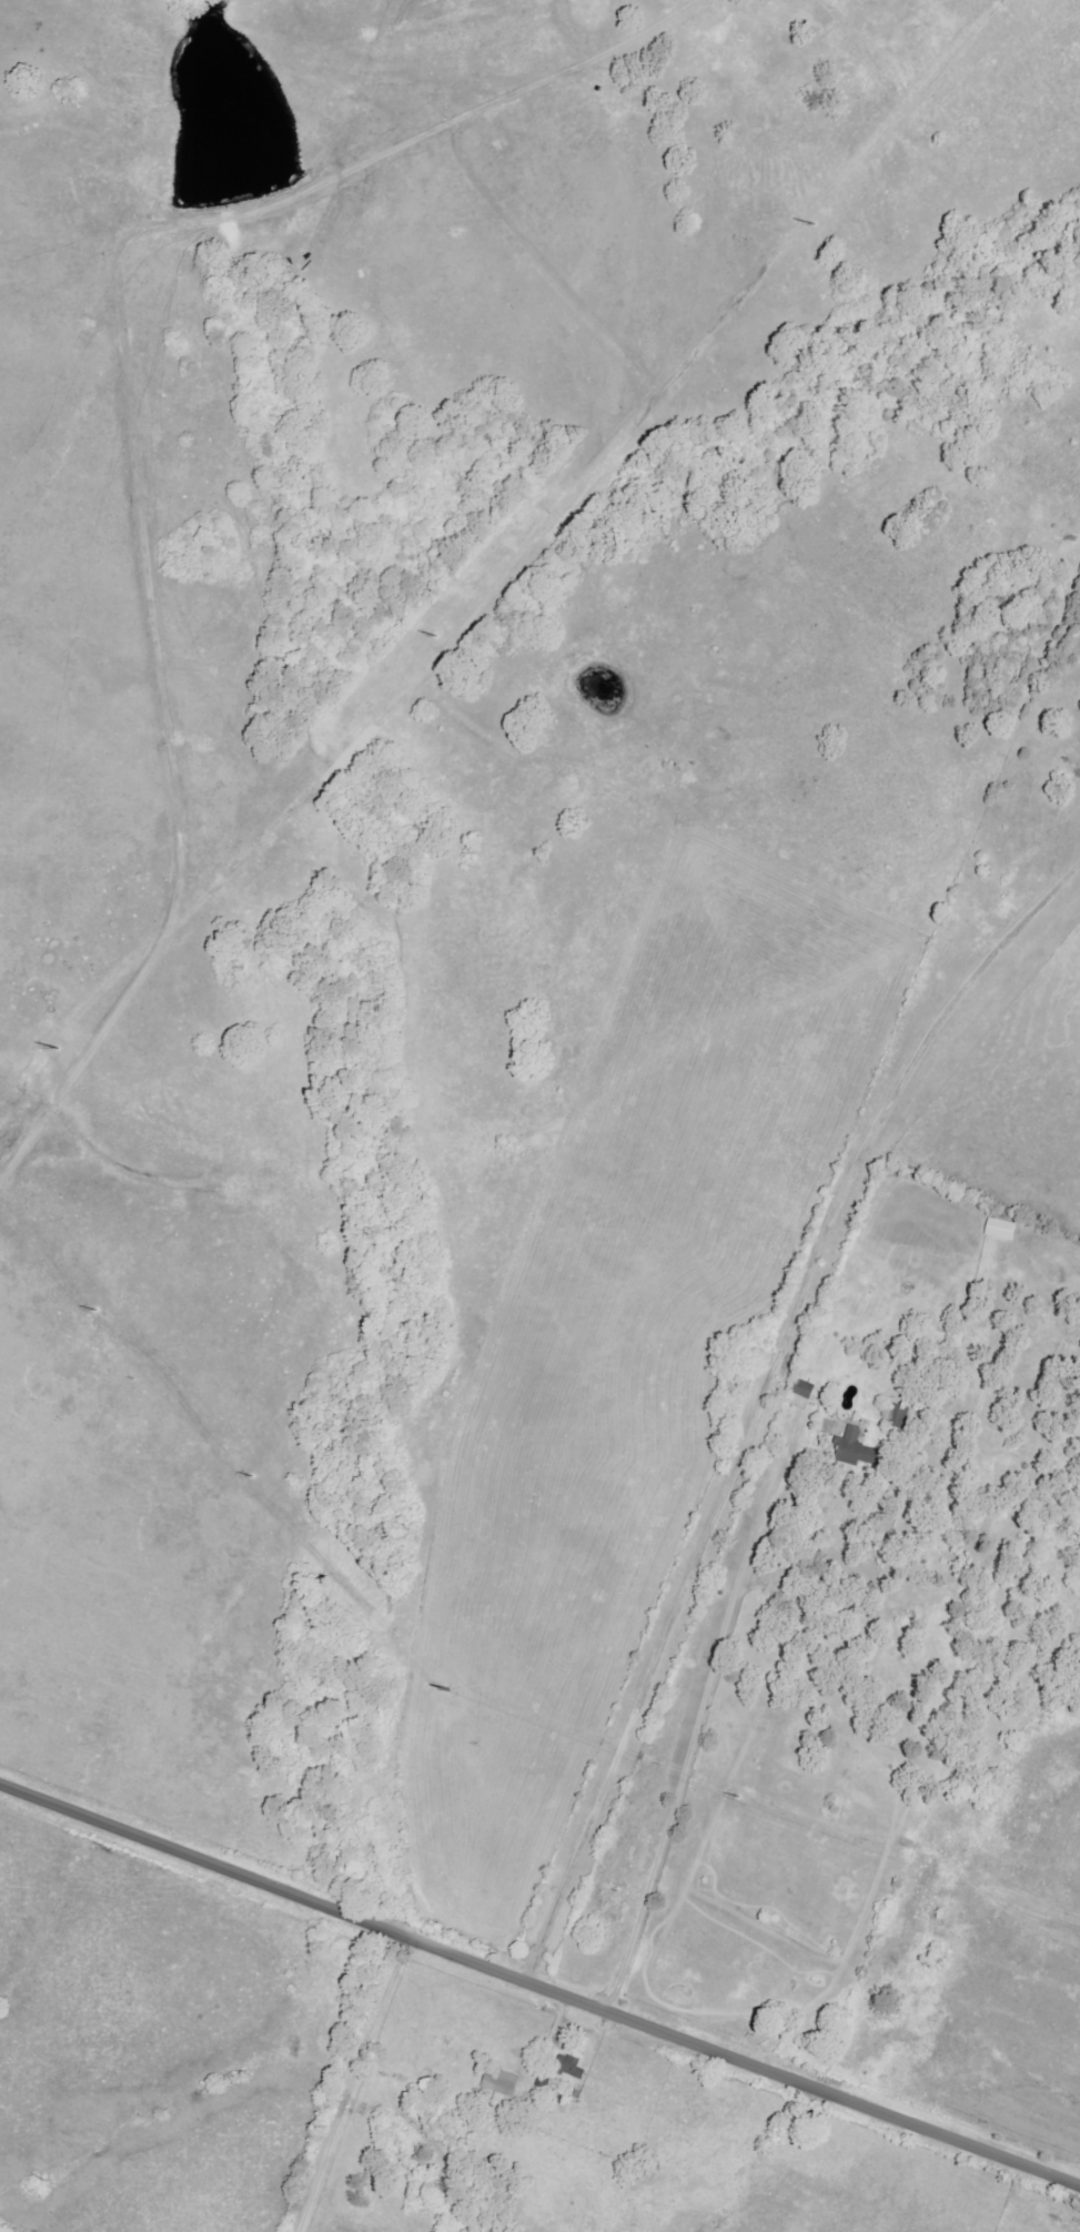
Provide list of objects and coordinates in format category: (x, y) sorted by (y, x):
power tower: (1009, 12)
road: (455, 85)
road: (352, 788)
building: (1001, 1230)
building: (805, 1390)
road: (761, 1400)
building: (899, 1417)
building: (855, 1450)
road: (699, 1717)
road: (539, 1987)
building: (569, 2067)
building: (502, 2083)

